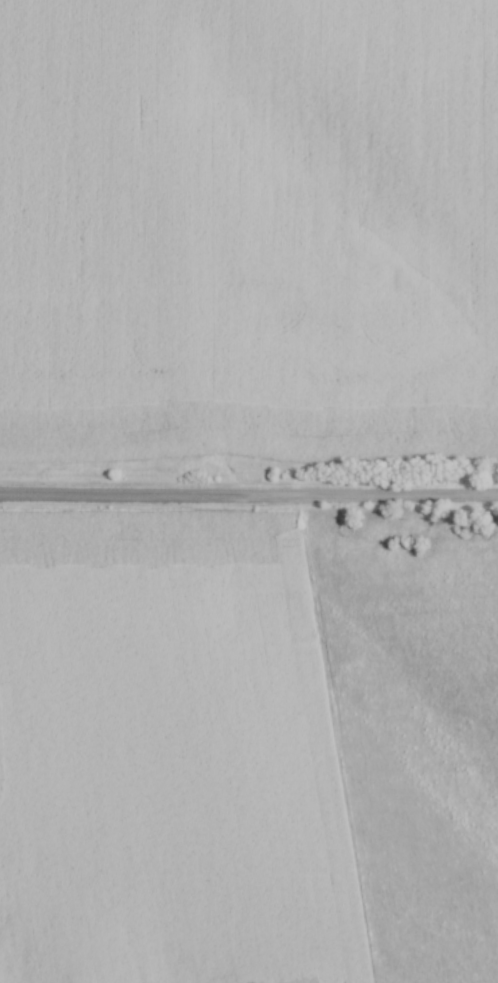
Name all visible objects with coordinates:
road: (249, 495)

